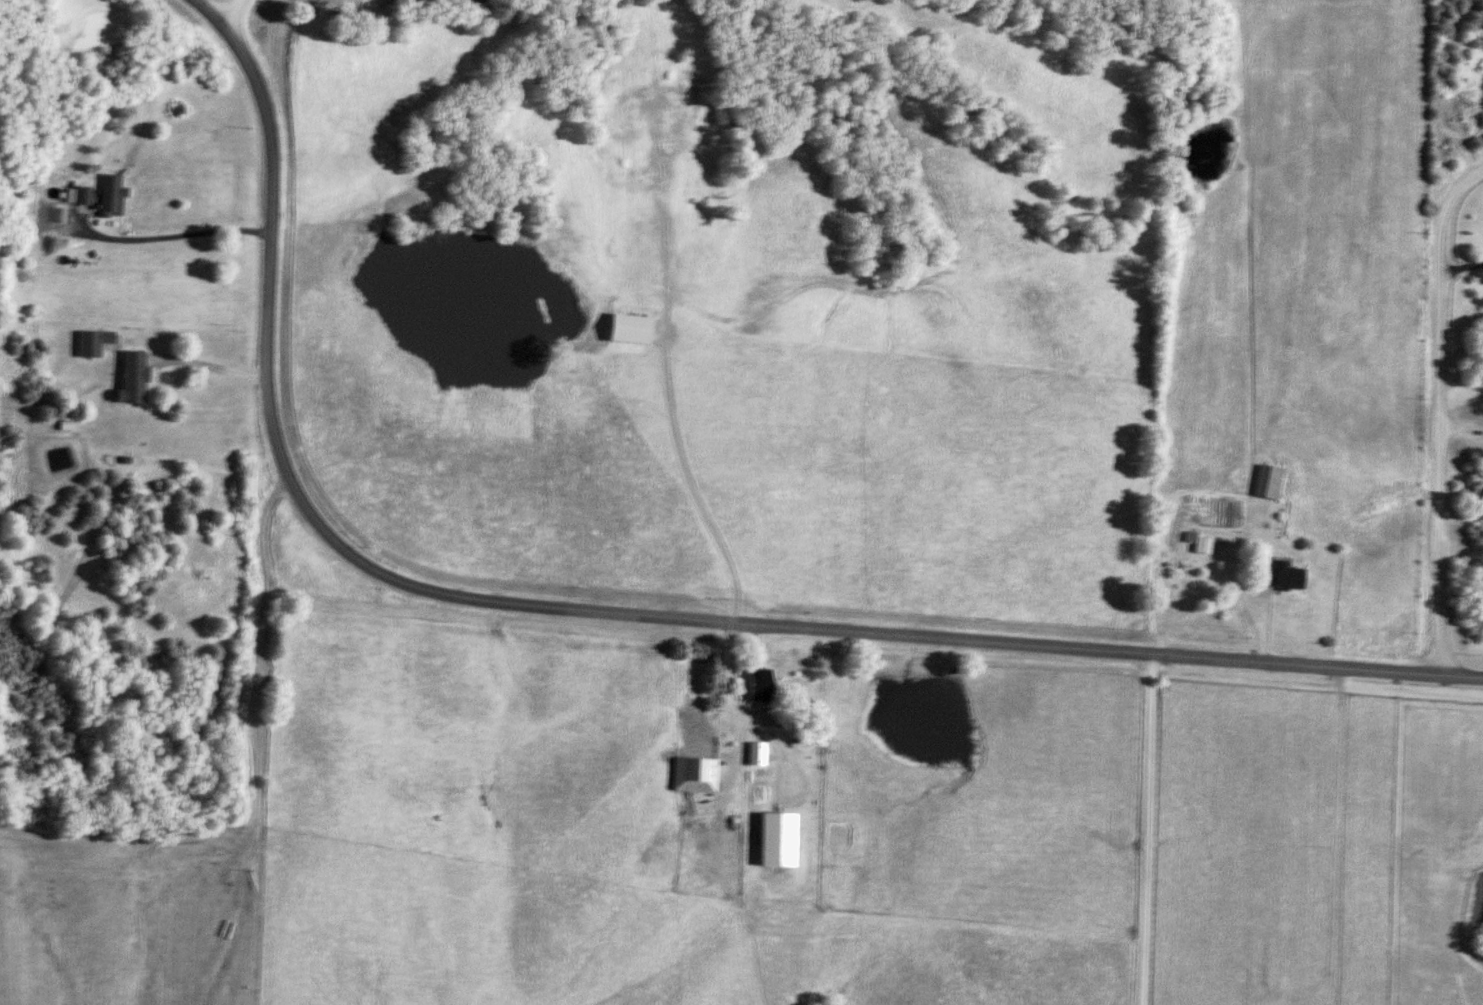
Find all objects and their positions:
road: (231, 11)
building: (73, 197)
building: (107, 198)
road: (165, 241)
road: (1462, 273)
building: (622, 330)
building: (88, 344)
road: (205, 369)
building: (128, 379)
road: (1436, 414)
building: (1265, 484)
road: (687, 492)
building: (1197, 544)
building: (1275, 577)
road: (607, 615)
building: (752, 685)
road: (729, 687)
building: (753, 754)
building: (692, 775)
road: (1334, 828)
road: (1147, 831)
road: (1312, 993)
road: (1327, 994)

